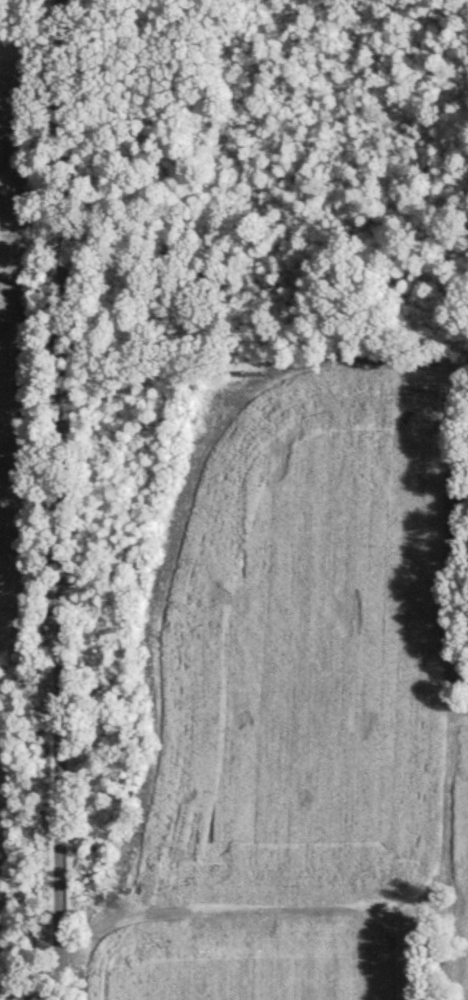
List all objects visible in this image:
road: (65, 500)

